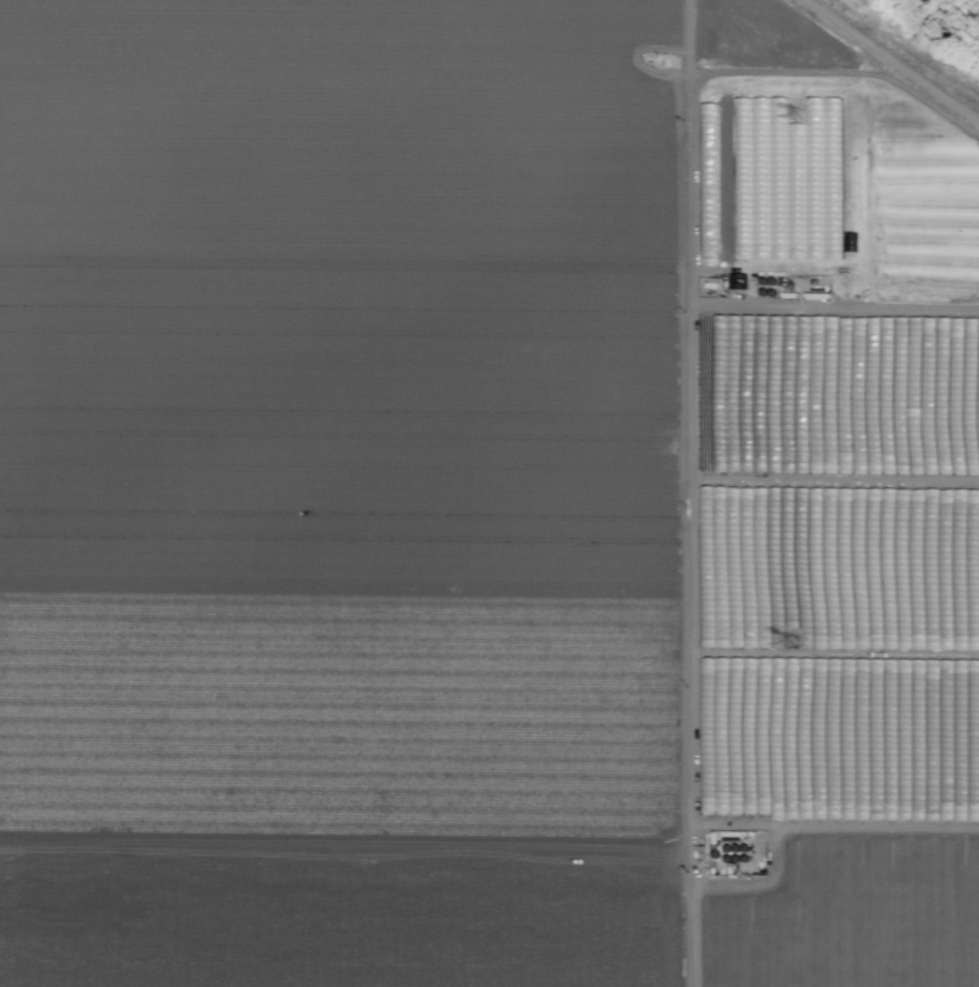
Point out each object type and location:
river: (930, 34)
power tower: (800, 116)
building: (881, 421)
crop: (483, 499)
power tower: (792, 645)
building: (845, 740)

